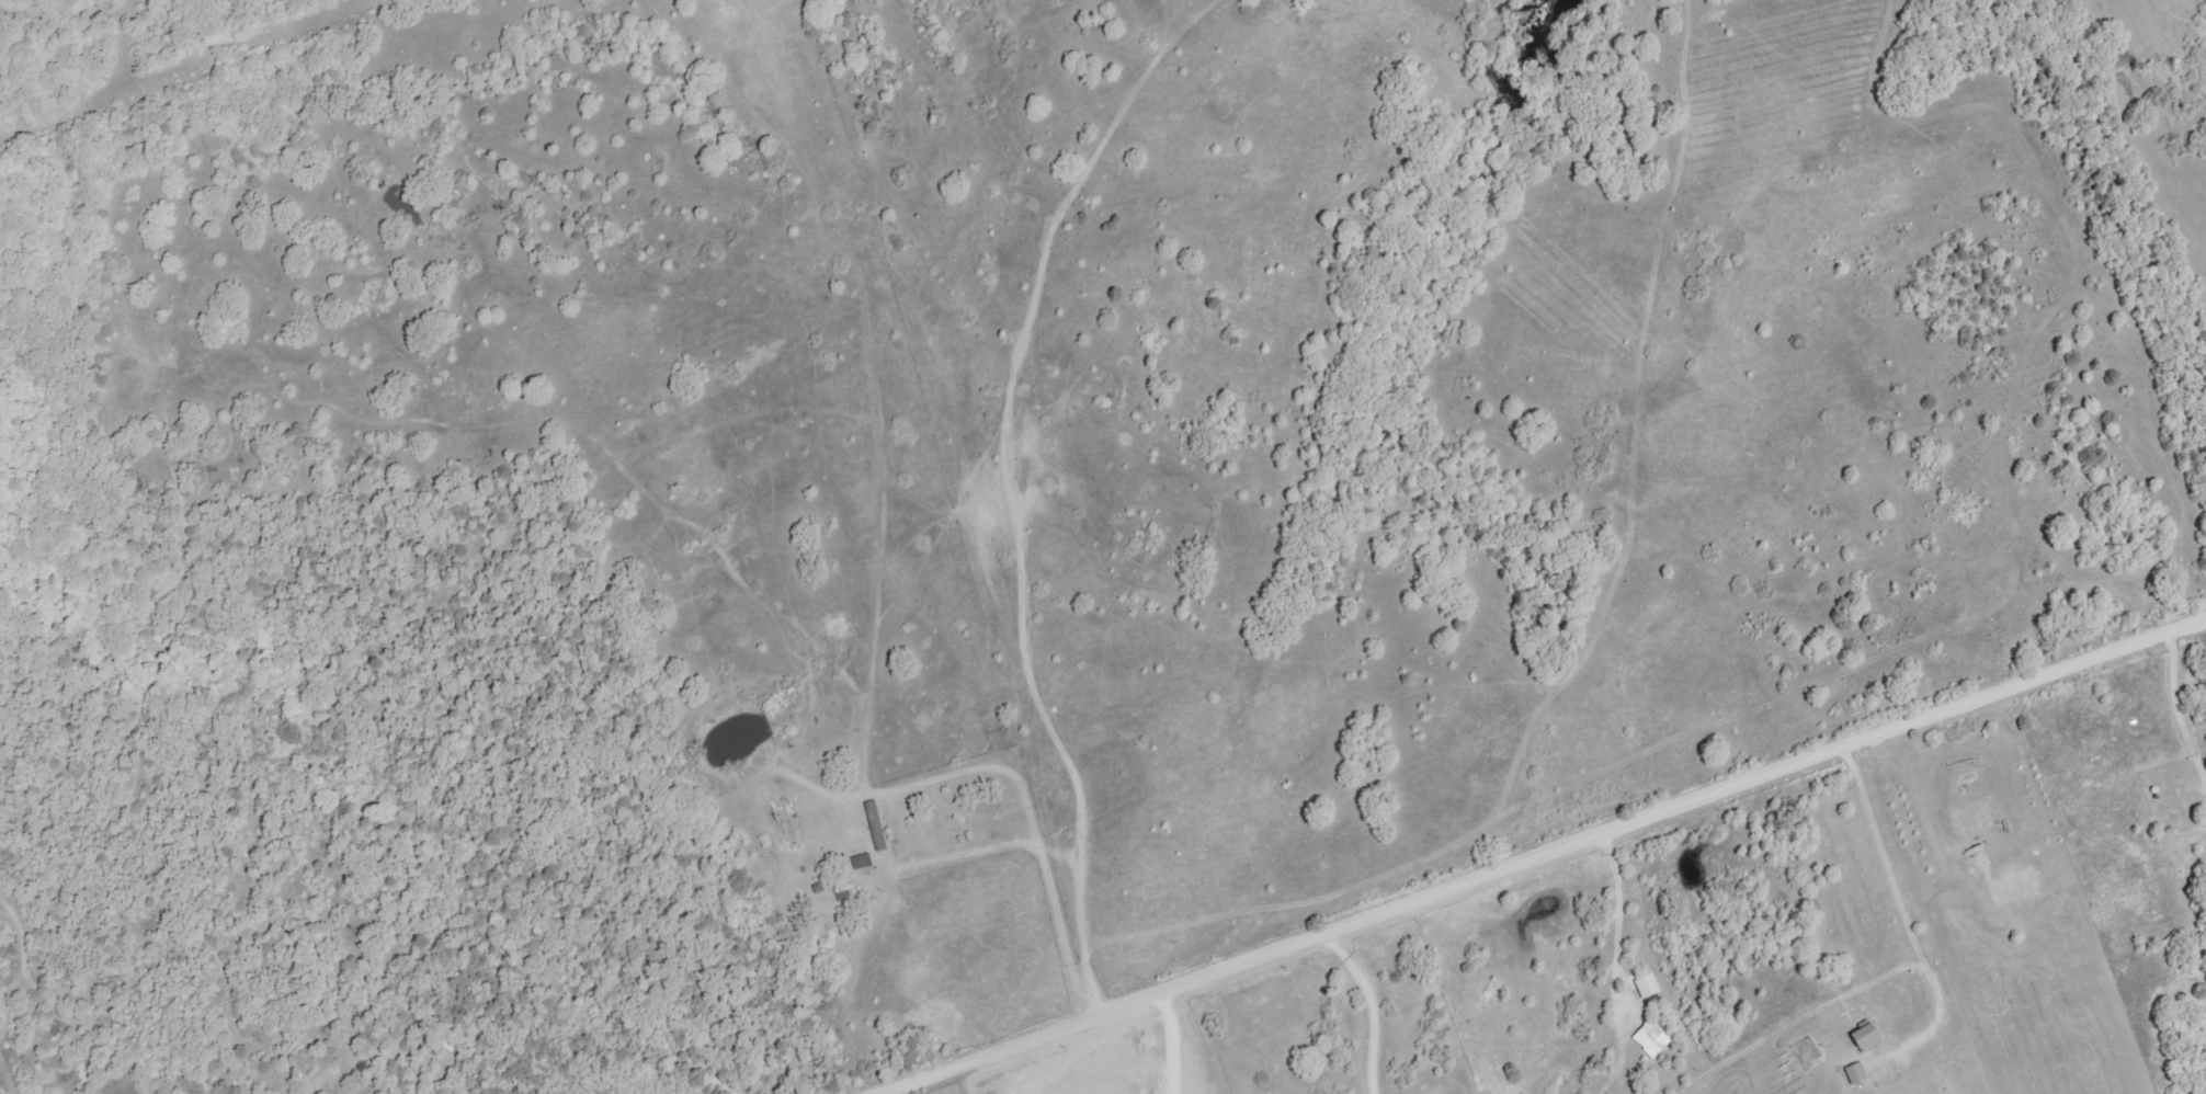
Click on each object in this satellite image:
road: (933, 419)
road: (2176, 710)
road: (1543, 846)
building: (863, 862)
road: (1898, 903)
road: (1617, 925)
building: (1645, 982)
road: (1371, 1002)
building: (1867, 1037)
building: (1652, 1038)
road: (1173, 1040)
building: (1857, 1073)

